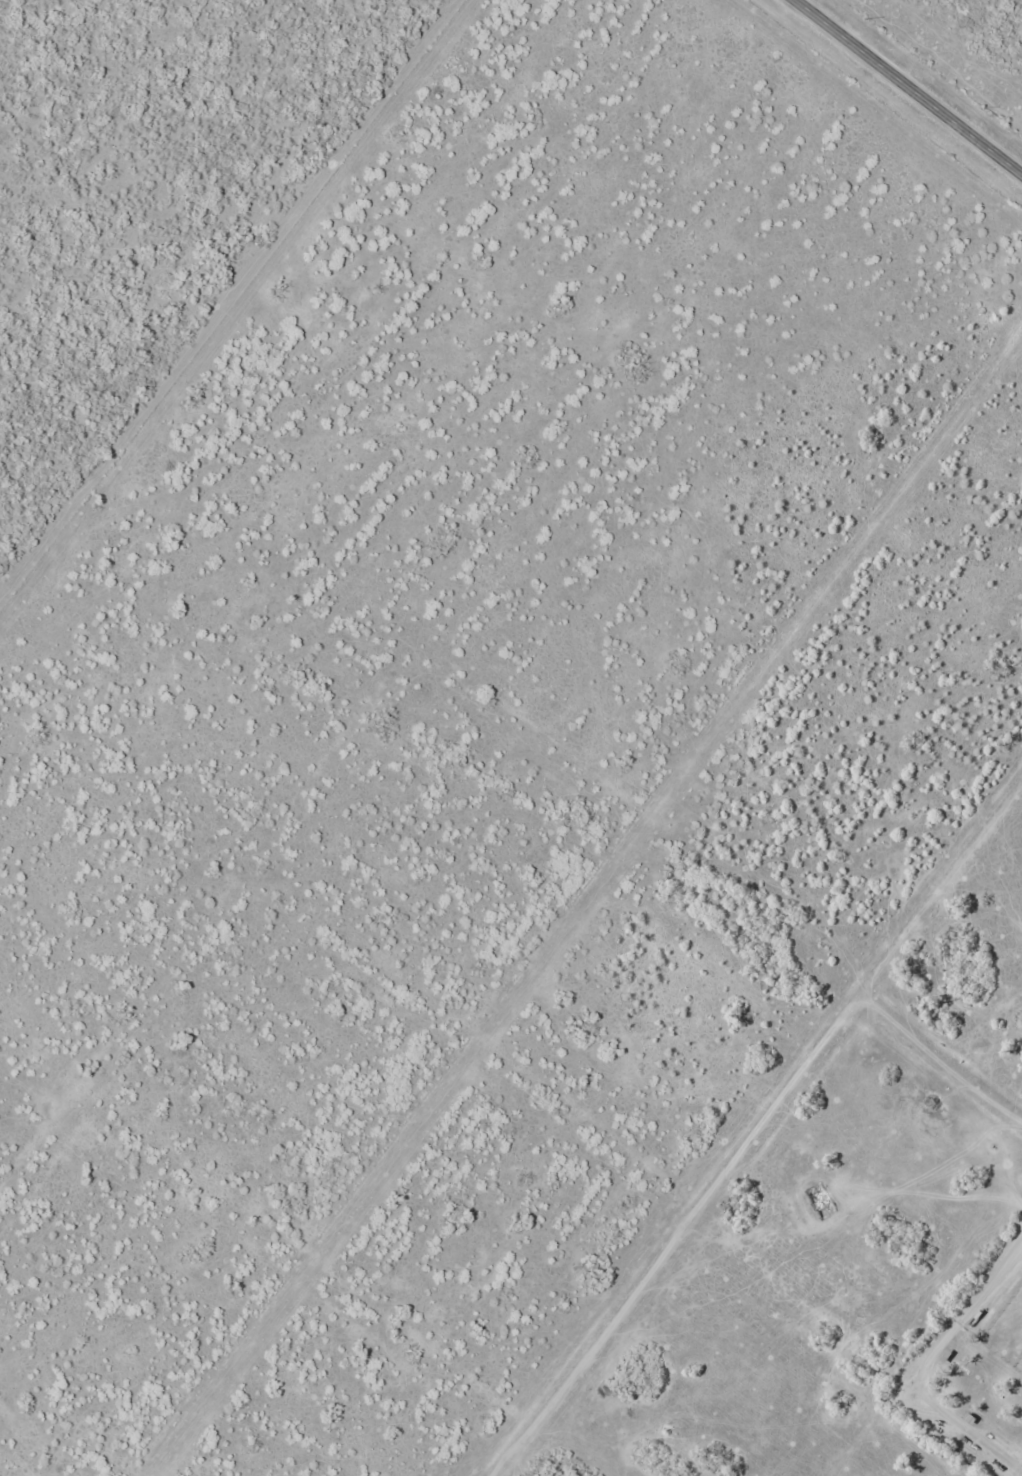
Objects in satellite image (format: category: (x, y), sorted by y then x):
road: (910, 86)
road: (939, 891)
road: (742, 1159)
road: (921, 1372)

